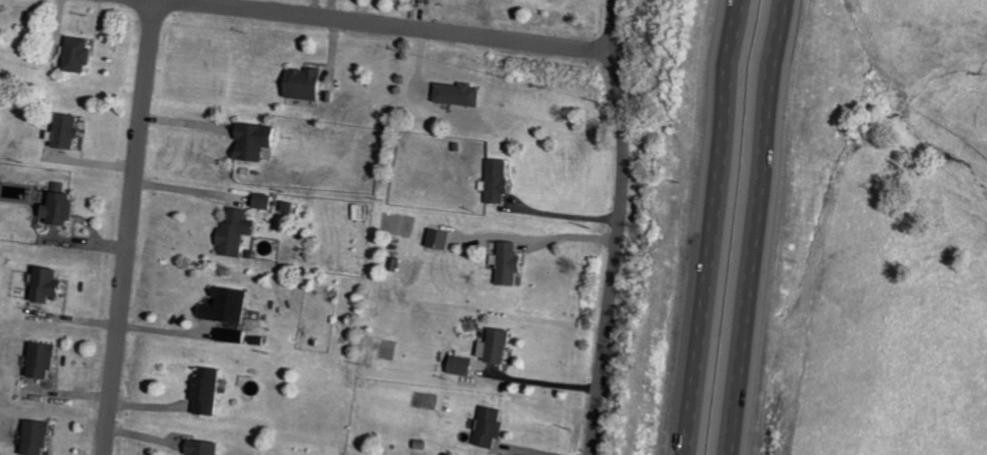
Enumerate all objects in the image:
road: (392, 25)
building: (83, 55)
building: (309, 84)
building: (462, 94)
building: (74, 131)
building: (259, 141)
building: (499, 181)
building: (270, 202)
building: (66, 206)
road: (568, 215)
road: (131, 227)
road: (712, 227)
road: (753, 227)
road: (620, 228)
building: (240, 233)
building: (444, 239)
building: (512, 264)
building: (55, 285)
building: (231, 305)
building: (501, 346)
building: (49, 361)
building: (465, 365)
road: (546, 381)
building: (211, 391)
building: (492, 427)
building: (43, 438)
building: (207, 448)

